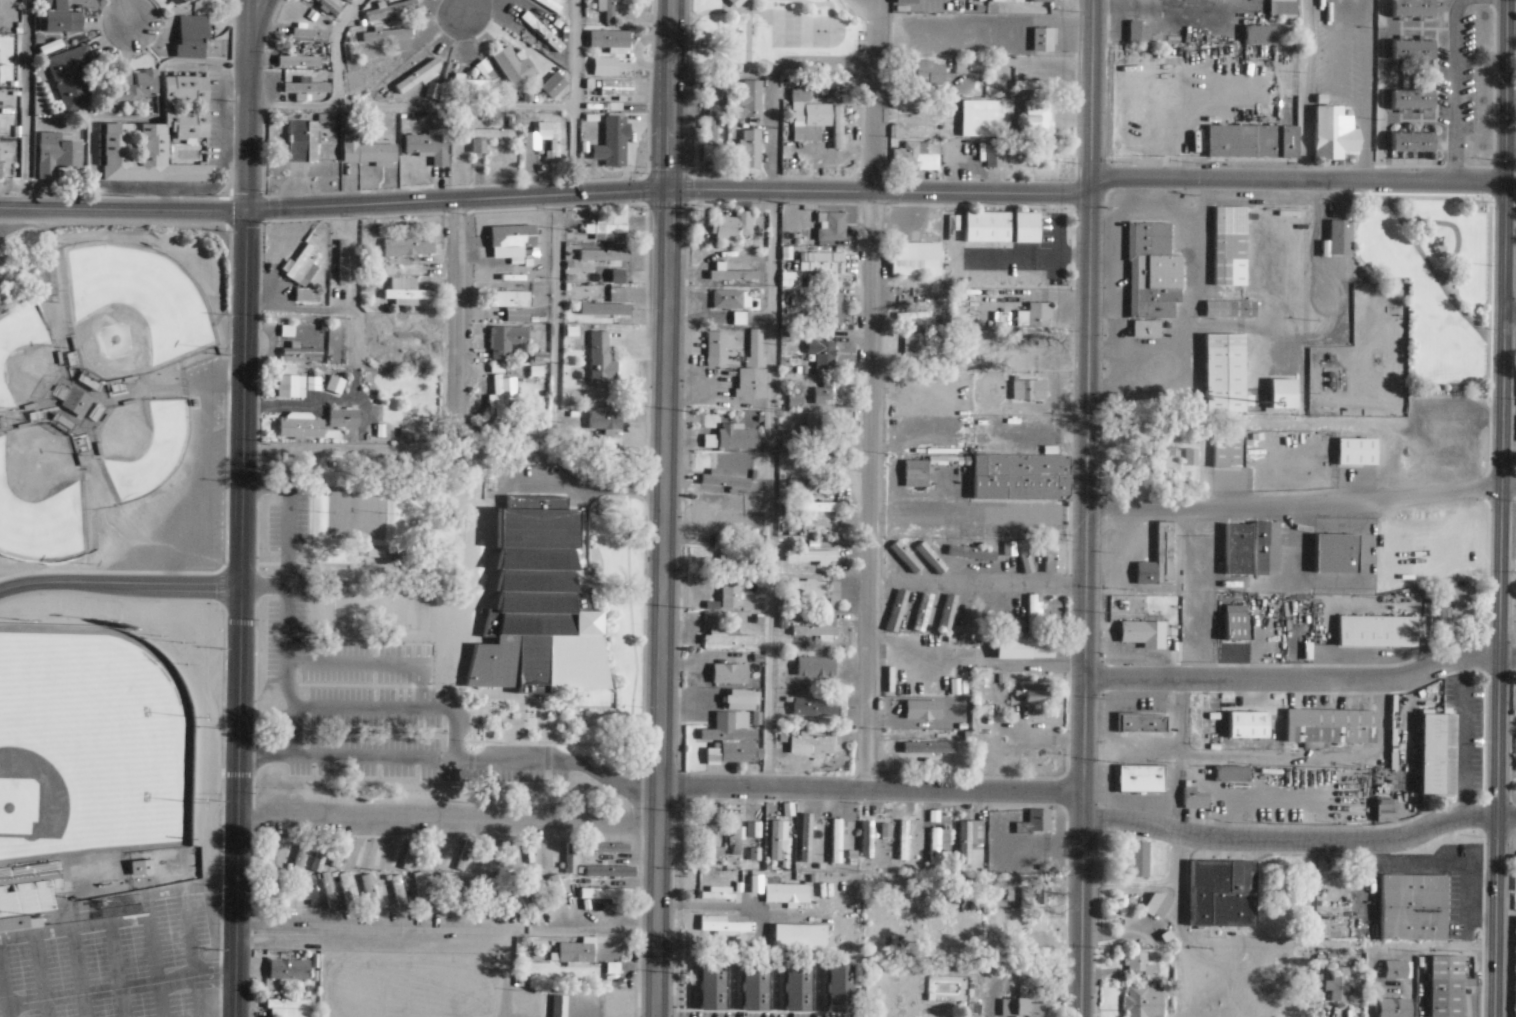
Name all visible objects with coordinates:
building: (174, 1)
building: (907, 1)
building: (1041, 1)
building: (735, 2)
building: (1004, 2)
building: (552, 4)
building: (329, 5)
road: (464, 5)
building: (984, 6)
building: (1411, 7)
building: (392, 8)
building: (1282, 9)
road: (123, 10)
building: (610, 10)
building: (57, 17)
road: (246, 26)
road: (257, 26)
building: (542, 30)
building: (309, 32)
building: (190, 33)
building: (387, 33)
building: (1137, 33)
building: (1258, 36)
building: (610, 37)
park: (776, 37)
building: (1044, 38)
building: (1410, 47)
building: (298, 59)
building: (525, 64)
building: (969, 64)
building: (606, 66)
building: (512, 69)
building: (931, 71)
building: (418, 73)
road: (691, 73)
building: (70, 76)
building: (617, 83)
building: (129, 84)
building: (472, 84)
building: (834, 85)
building: (307, 86)
building: (552, 87)
road: (1305, 89)
building: (431, 91)
building: (616, 91)
building: (800, 94)
road: (670, 95)
building: (1409, 97)
building: (749, 100)
road: (24, 104)
building: (204, 105)
building: (1039, 116)
building: (983, 117)
building: (631, 119)
building: (814, 120)
building: (711, 121)
building: (838, 126)
road: (244, 131)
building: (1332, 132)
building: (488, 136)
building: (545, 138)
building: (303, 140)
building: (1410, 140)
building: (612, 141)
building: (1250, 141)
road: (1510, 143)
building: (429, 145)
building: (750, 147)
building: (366, 149)
building: (1034, 149)
building: (713, 153)
building: (55, 154)
building: (996, 154)
building: (146, 156)
building: (916, 156)
road: (1298, 178)
road: (879, 192)
road: (455, 198)
road: (121, 209)
building: (734, 225)
building: (832, 225)
building: (609, 227)
building: (999, 228)
building: (514, 236)
building: (1339, 238)
building: (798, 241)
building: (405, 244)
building: (1228, 247)
building: (787, 252)
building: (604, 253)
building: (914, 260)
building: (302, 262)
building: (342, 263)
building: (823, 263)
building: (1151, 271)
building: (732, 273)
building: (615, 279)
park: (1434, 282)
building: (403, 292)
building: (304, 298)
building: (729, 299)
road: (454, 300)
building: (513, 304)
building: (605, 307)
building: (834, 308)
building: (1228, 309)
road: (294, 310)
park: (129, 314)
building: (915, 314)
building: (1037, 314)
road: (1509, 314)
building: (947, 320)
road: (1502, 328)
building: (1145, 329)
road: (1088, 338)
building: (409, 339)
building: (506, 339)
building: (717, 342)
building: (915, 346)
building: (1018, 351)
park: (24, 353)
building: (832, 354)
building: (300, 355)
building: (600, 367)
building: (753, 371)
building: (1222, 373)
building: (291, 385)
building: (333, 388)
building: (832, 389)
building: (1028, 392)
building: (498, 394)
road: (870, 394)
building: (1281, 394)
park: (113, 397)
road: (241, 397)
building: (796, 398)
building: (70, 400)
building: (602, 415)
building: (344, 418)
building: (1175, 425)
building: (300, 427)
building: (812, 428)
building: (486, 436)
building: (736, 436)
road: (770, 436)
building: (787, 443)
park: (139, 445)
building: (1355, 452)
building: (1226, 453)
building: (1189, 458)
building: (814, 462)
building: (805, 463)
building: (1163, 463)
building: (917, 473)
building: (756, 474)
building: (1022, 476)
building: (725, 479)
building: (820, 483)
road: (664, 488)
park: (41, 493)
building: (754, 497)
building: (830, 500)
road: (1301, 505)
building: (817, 508)
building: (812, 514)
road: (992, 515)
building: (734, 518)
building: (825, 519)
building: (815, 544)
building: (1264, 547)
building: (1011, 548)
building: (1235, 549)
building: (971, 552)
building: (1334, 553)
building: (1030, 554)
building: (812, 556)
building: (907, 556)
building: (933, 557)
building: (1055, 558)
building: (1156, 560)
building: (732, 562)
building: (760, 577)
road: (119, 583)
road: (988, 583)
road: (263, 586)
building: (807, 590)
building: (729, 595)
building: (734, 595)
building: (835, 595)
road: (285, 599)
building: (1459, 606)
building: (898, 609)
building: (542, 610)
building: (976, 611)
building: (924, 612)
building: (948, 613)
building: (1035, 613)
building: (1441, 616)
building: (761, 620)
park: (451, 621)
building: (1235, 624)
building: (818, 631)
building: (1375, 631)
building: (1142, 634)
building: (762, 635)
building: (727, 638)
building: (1015, 648)
building: (1047, 648)
road: (1507, 658)
building: (818, 662)
road: (374, 664)
building: (788, 665)
building: (725, 675)
road: (1293, 680)
building: (1037, 692)
road: (398, 707)
building: (813, 707)
building: (920, 708)
building: (1141, 723)
building: (1246, 725)
building: (925, 726)
building: (934, 726)
building: (1328, 726)
road: (1083, 735)
building: (731, 737)
road: (1498, 738)
building: (812, 744)
building: (916, 746)
building: (918, 754)
road: (1179, 755)
building: (1437, 755)
road: (1315, 758)
road: (451, 760)
park: (90, 767)
building: (1230, 773)
building: (1139, 780)
road: (871, 789)
building: (1192, 799)
road: (237, 801)
park: (111, 805)
road: (1082, 807)
building: (1383, 810)
road: (1506, 818)
road: (448, 821)
building: (1037, 822)
building: (754, 830)
building: (887, 832)
building: (779, 833)
building: (738, 836)
building: (971, 838)
building: (905, 839)
building: (808, 840)
road: (1290, 840)
building: (838, 841)
building: (868, 842)
building: (939, 844)
building: (609, 848)
building: (712, 848)
building: (265, 853)
building: (338, 854)
building: (392, 854)
building: (410, 854)
building: (303, 855)
building: (357, 855)
building: (428, 855)
building: (463, 856)
building: (511, 856)
building: (374, 857)
building: (482, 857)
building: (1140, 860)
building: (446, 862)
building: (853, 862)
building: (571, 863)
building: (744, 864)
building: (310, 865)
building: (139, 868)
building: (608, 871)
building: (51, 884)
building: (556, 888)
building: (328, 889)
building: (420, 889)
building: (437, 890)
building: (456, 890)
building: (293, 891)
building: (311, 891)
building: (370, 891)
building: (397, 891)
building: (447, 891)
building: (534, 891)
building: (1218, 891)
building: (474, 893)
building: (514, 893)
building: (607, 893)
building: (389, 894)
building: (491, 894)
building: (719, 894)
building: (787, 894)
building: (1037, 894)
building: (347, 895)
building: (278, 896)
road: (657, 901)
building: (1156, 906)
road: (736, 908)
building: (1411, 908)
road: (1495, 917)
road: (1081, 919)
building: (723, 926)
road: (445, 927)
building: (800, 938)
building: (576, 953)
building: (1139, 962)
parking lot: (110, 964)
building: (287, 970)
building: (1397, 970)
building: (1514, 976)
building: (1337, 985)
building: (1443, 986)
building: (710, 987)
building: (753, 988)
building: (796, 988)
building: (838, 989)
road: (104, 991)
building: (1145, 1002)
building: (557, 1007)
building: (288, 1008)
building: (1393, 1008)
building: (1023, 1009)

